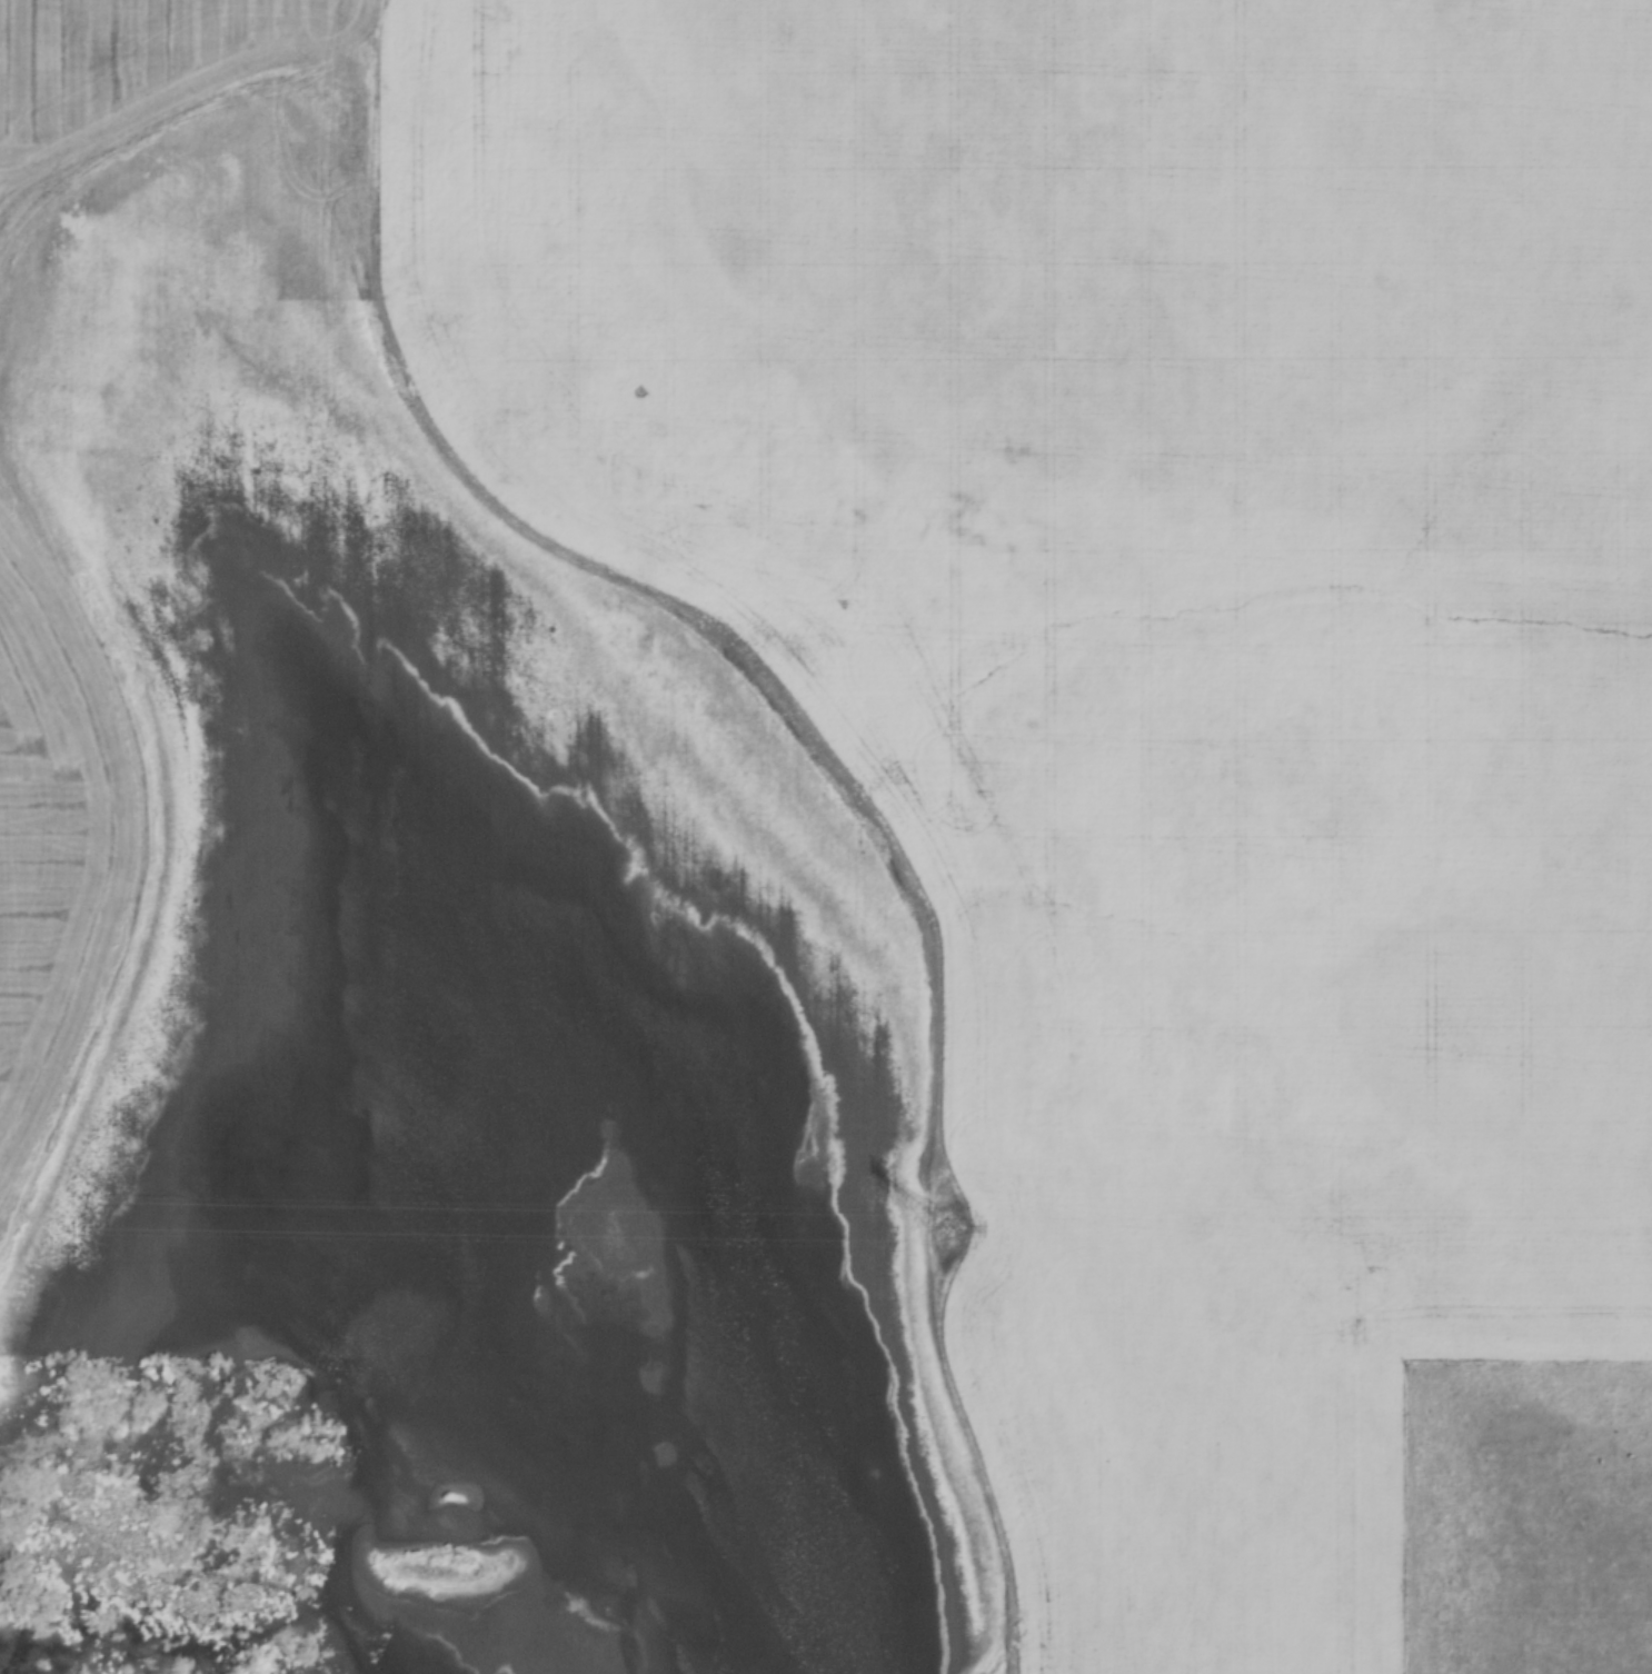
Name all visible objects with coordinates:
power tower: (952, 1230)

